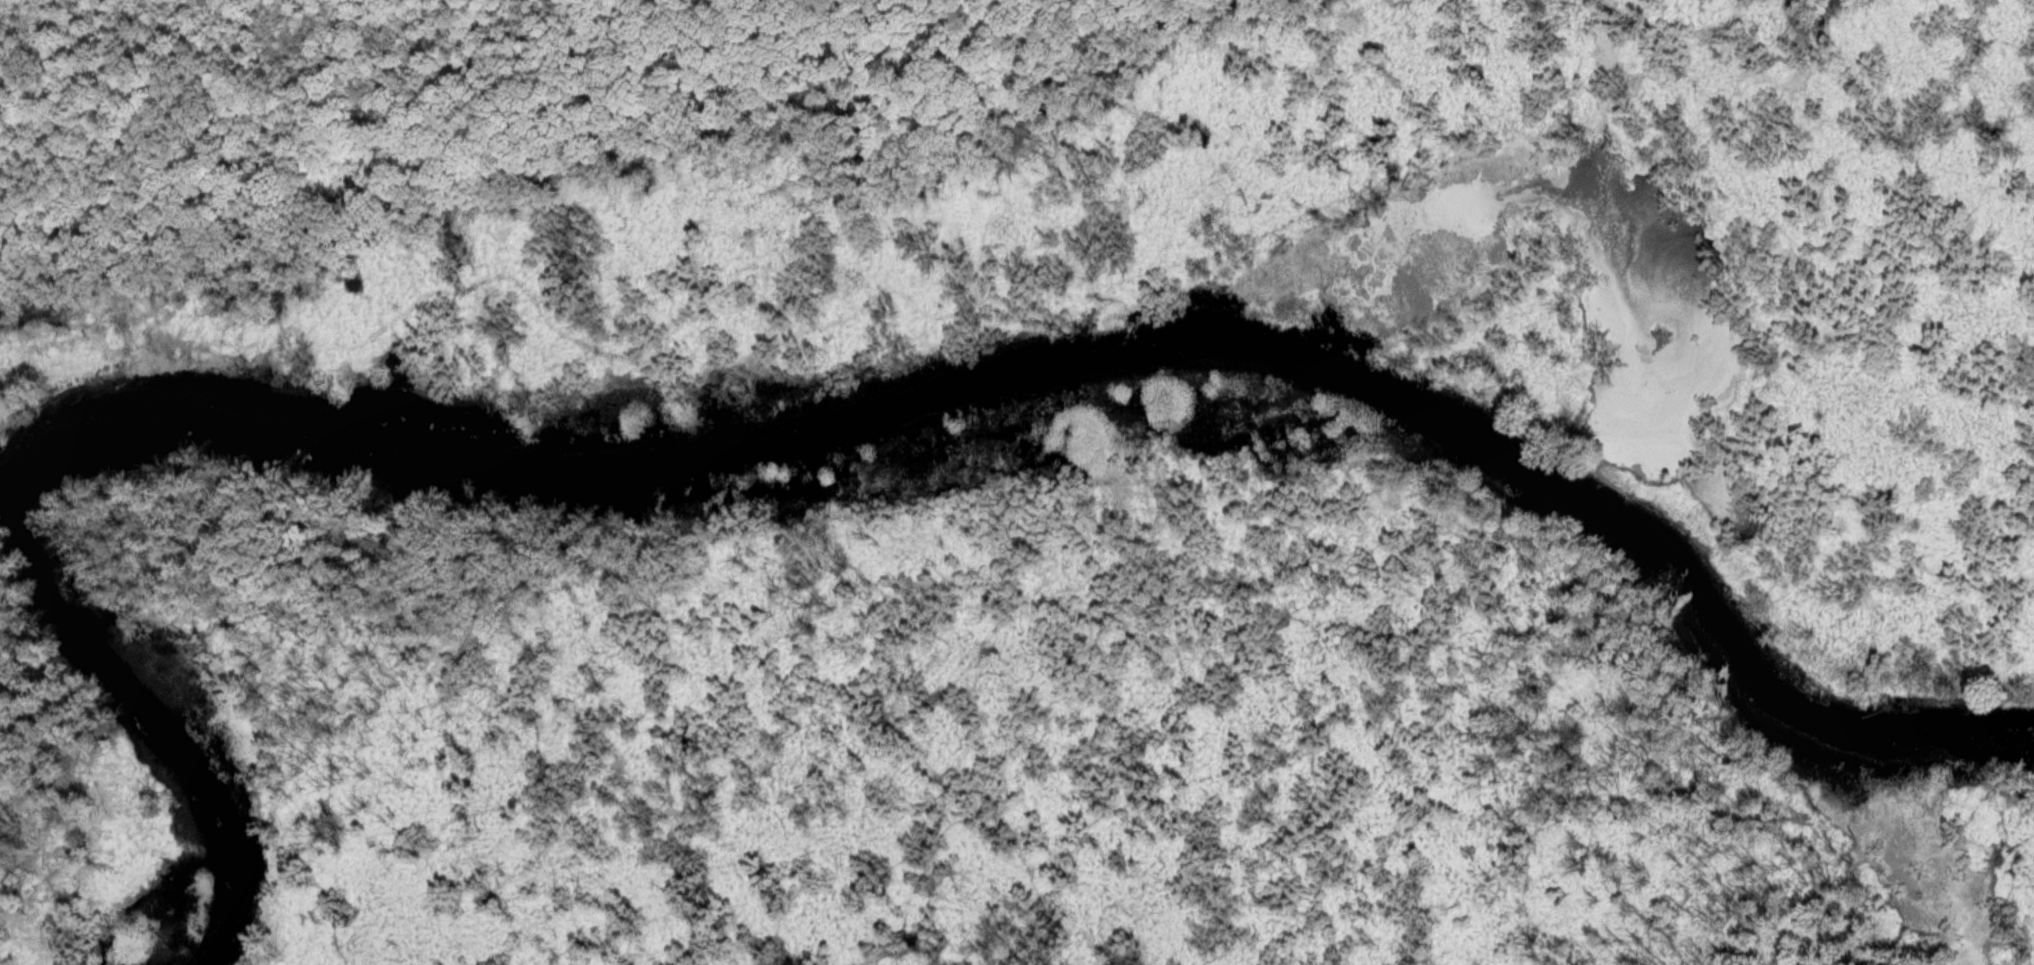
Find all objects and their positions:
river: (1071, 409)

